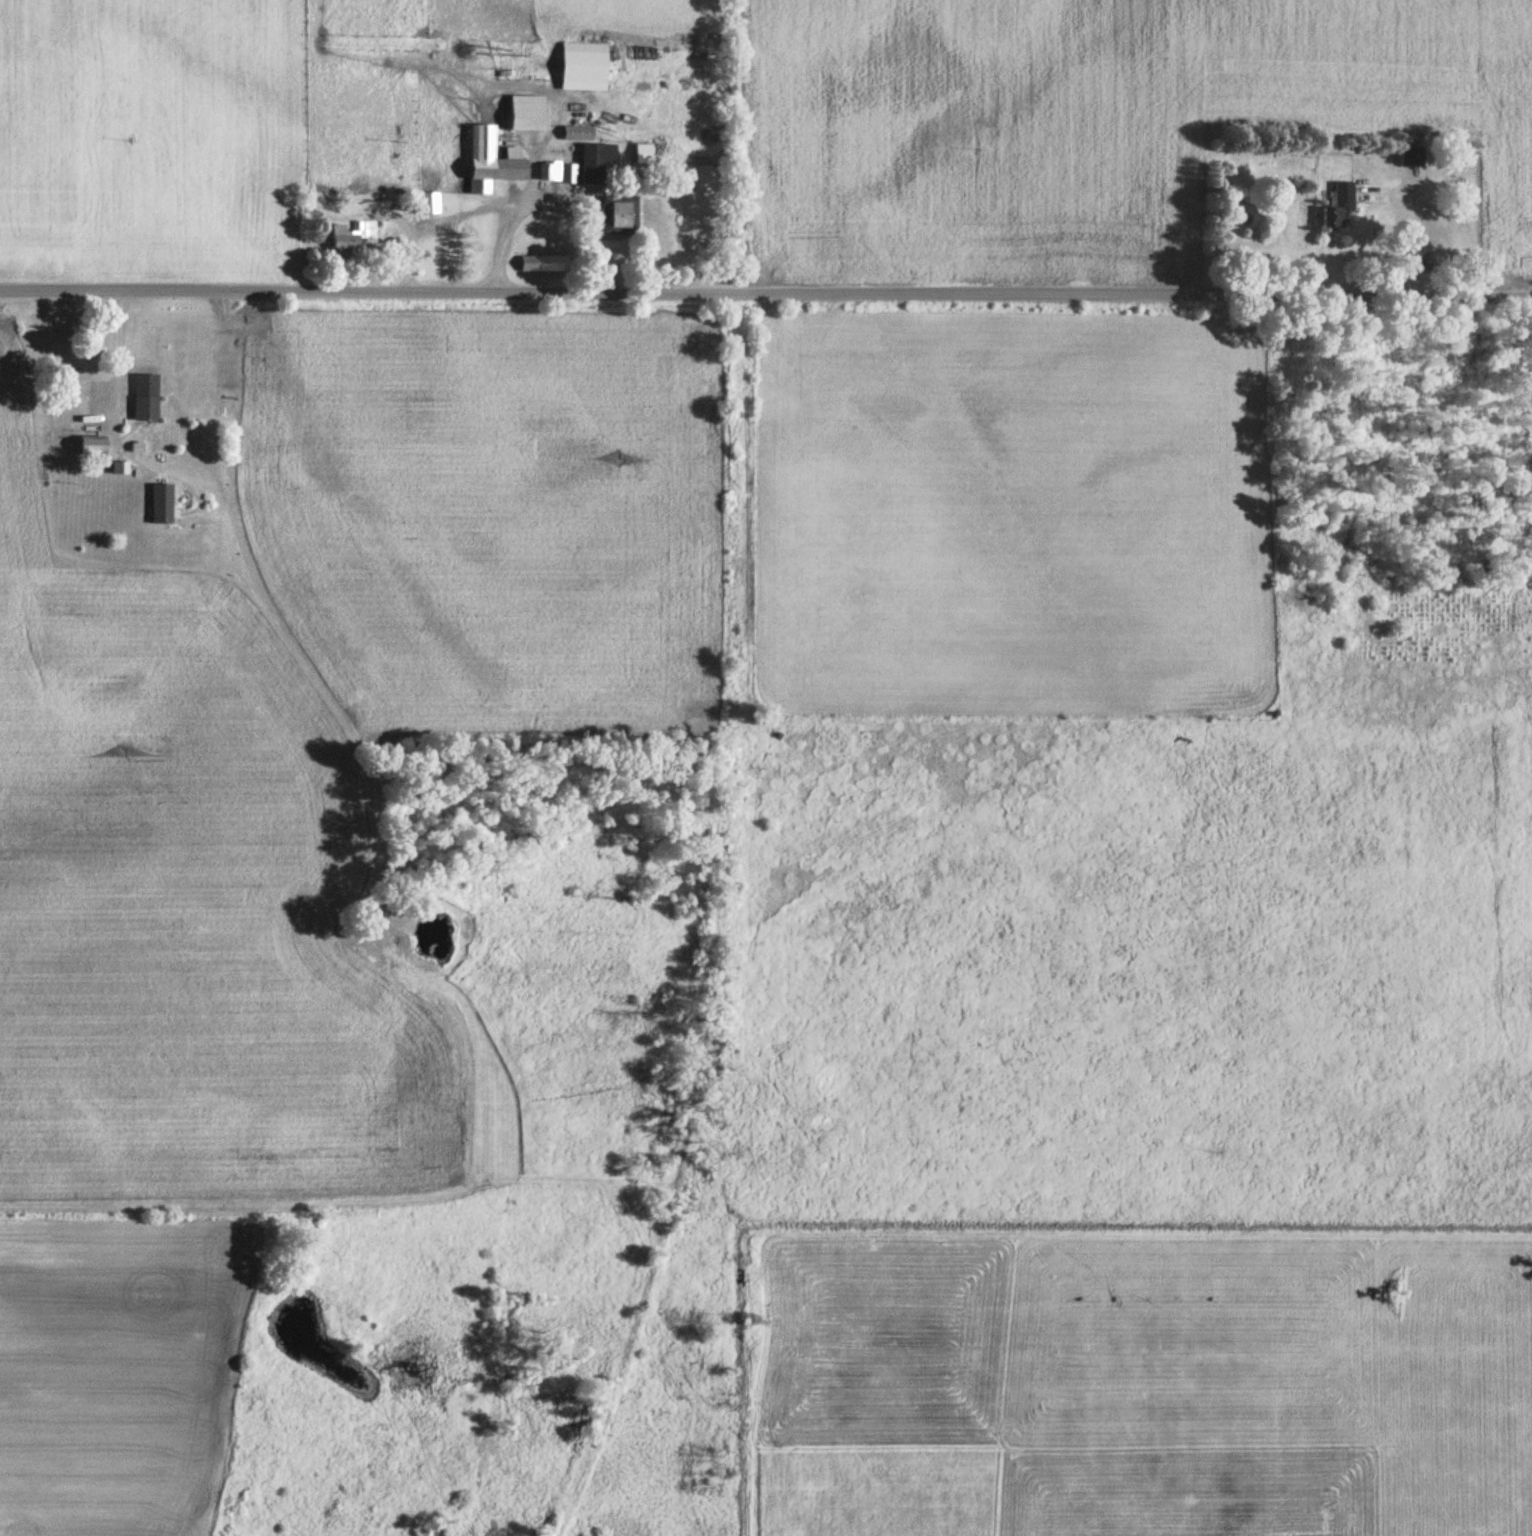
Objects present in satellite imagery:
crop: (582, 17)
building: (581, 68)
building: (524, 116)
building: (575, 134)
building: (641, 155)
building: (1410, 157)
building: (489, 162)
building: (593, 163)
building: (548, 172)
building: (667, 172)
building: (567, 174)
road: (541, 202)
building: (429, 204)
building: (1338, 206)
building: (617, 218)
building: (351, 237)
building: (541, 265)
road: (765, 294)
road: (110, 358)
building: (144, 401)
building: (90, 439)
building: (134, 441)
building: (118, 460)
building: (160, 495)

